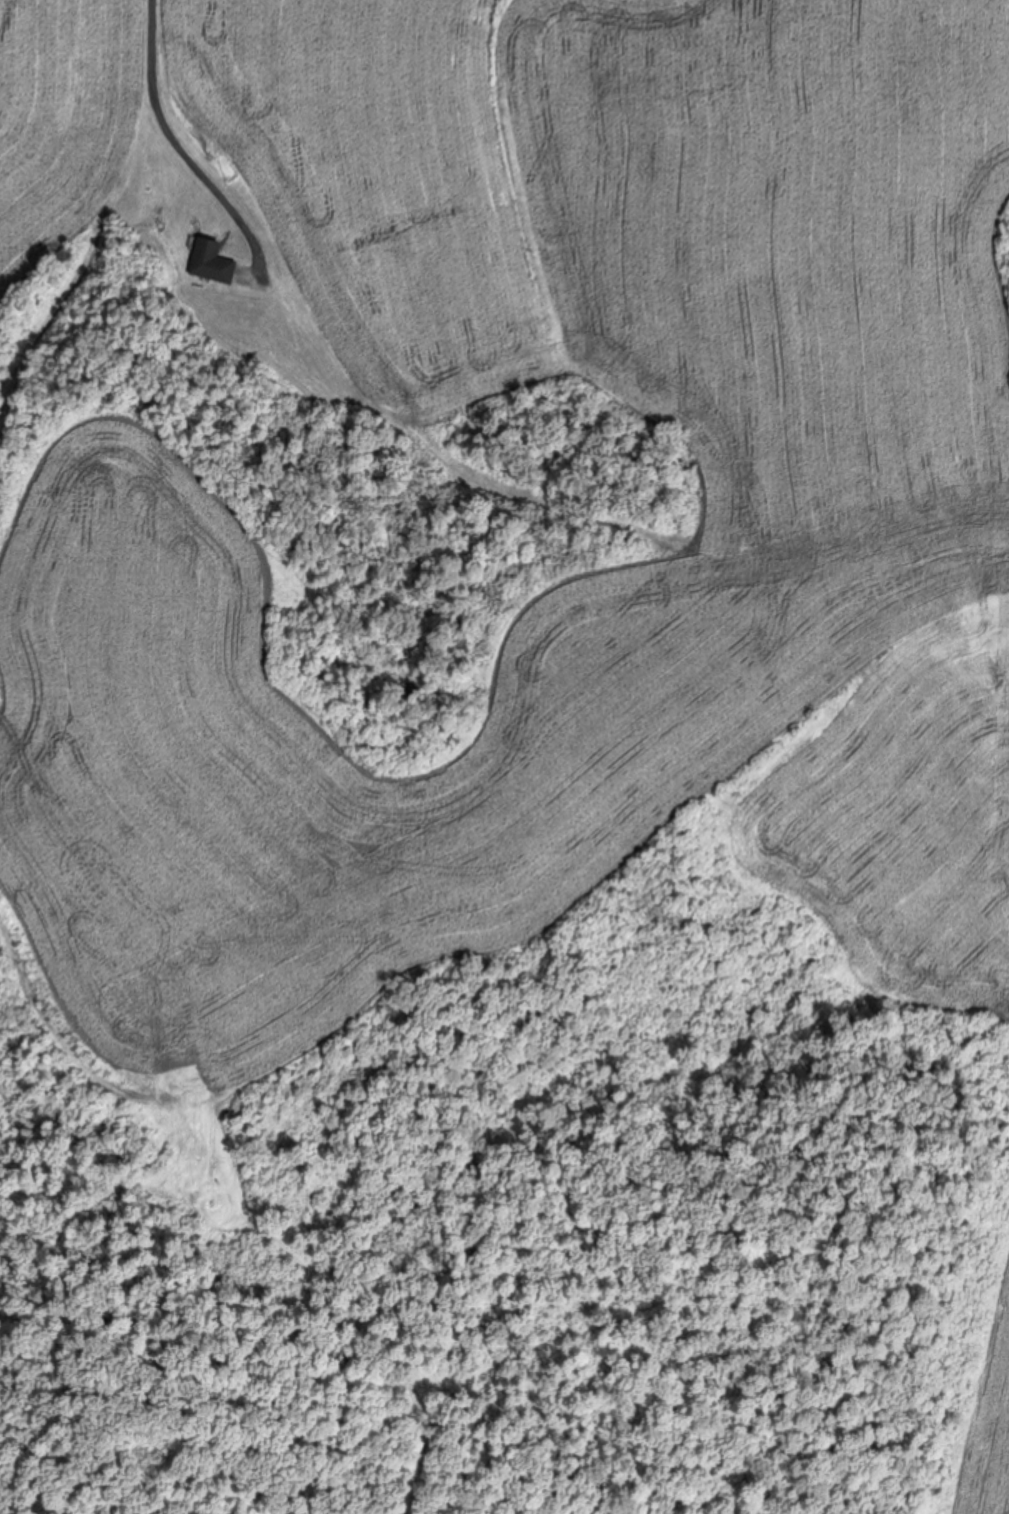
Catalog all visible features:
road: (177, 152)
building: (211, 262)

